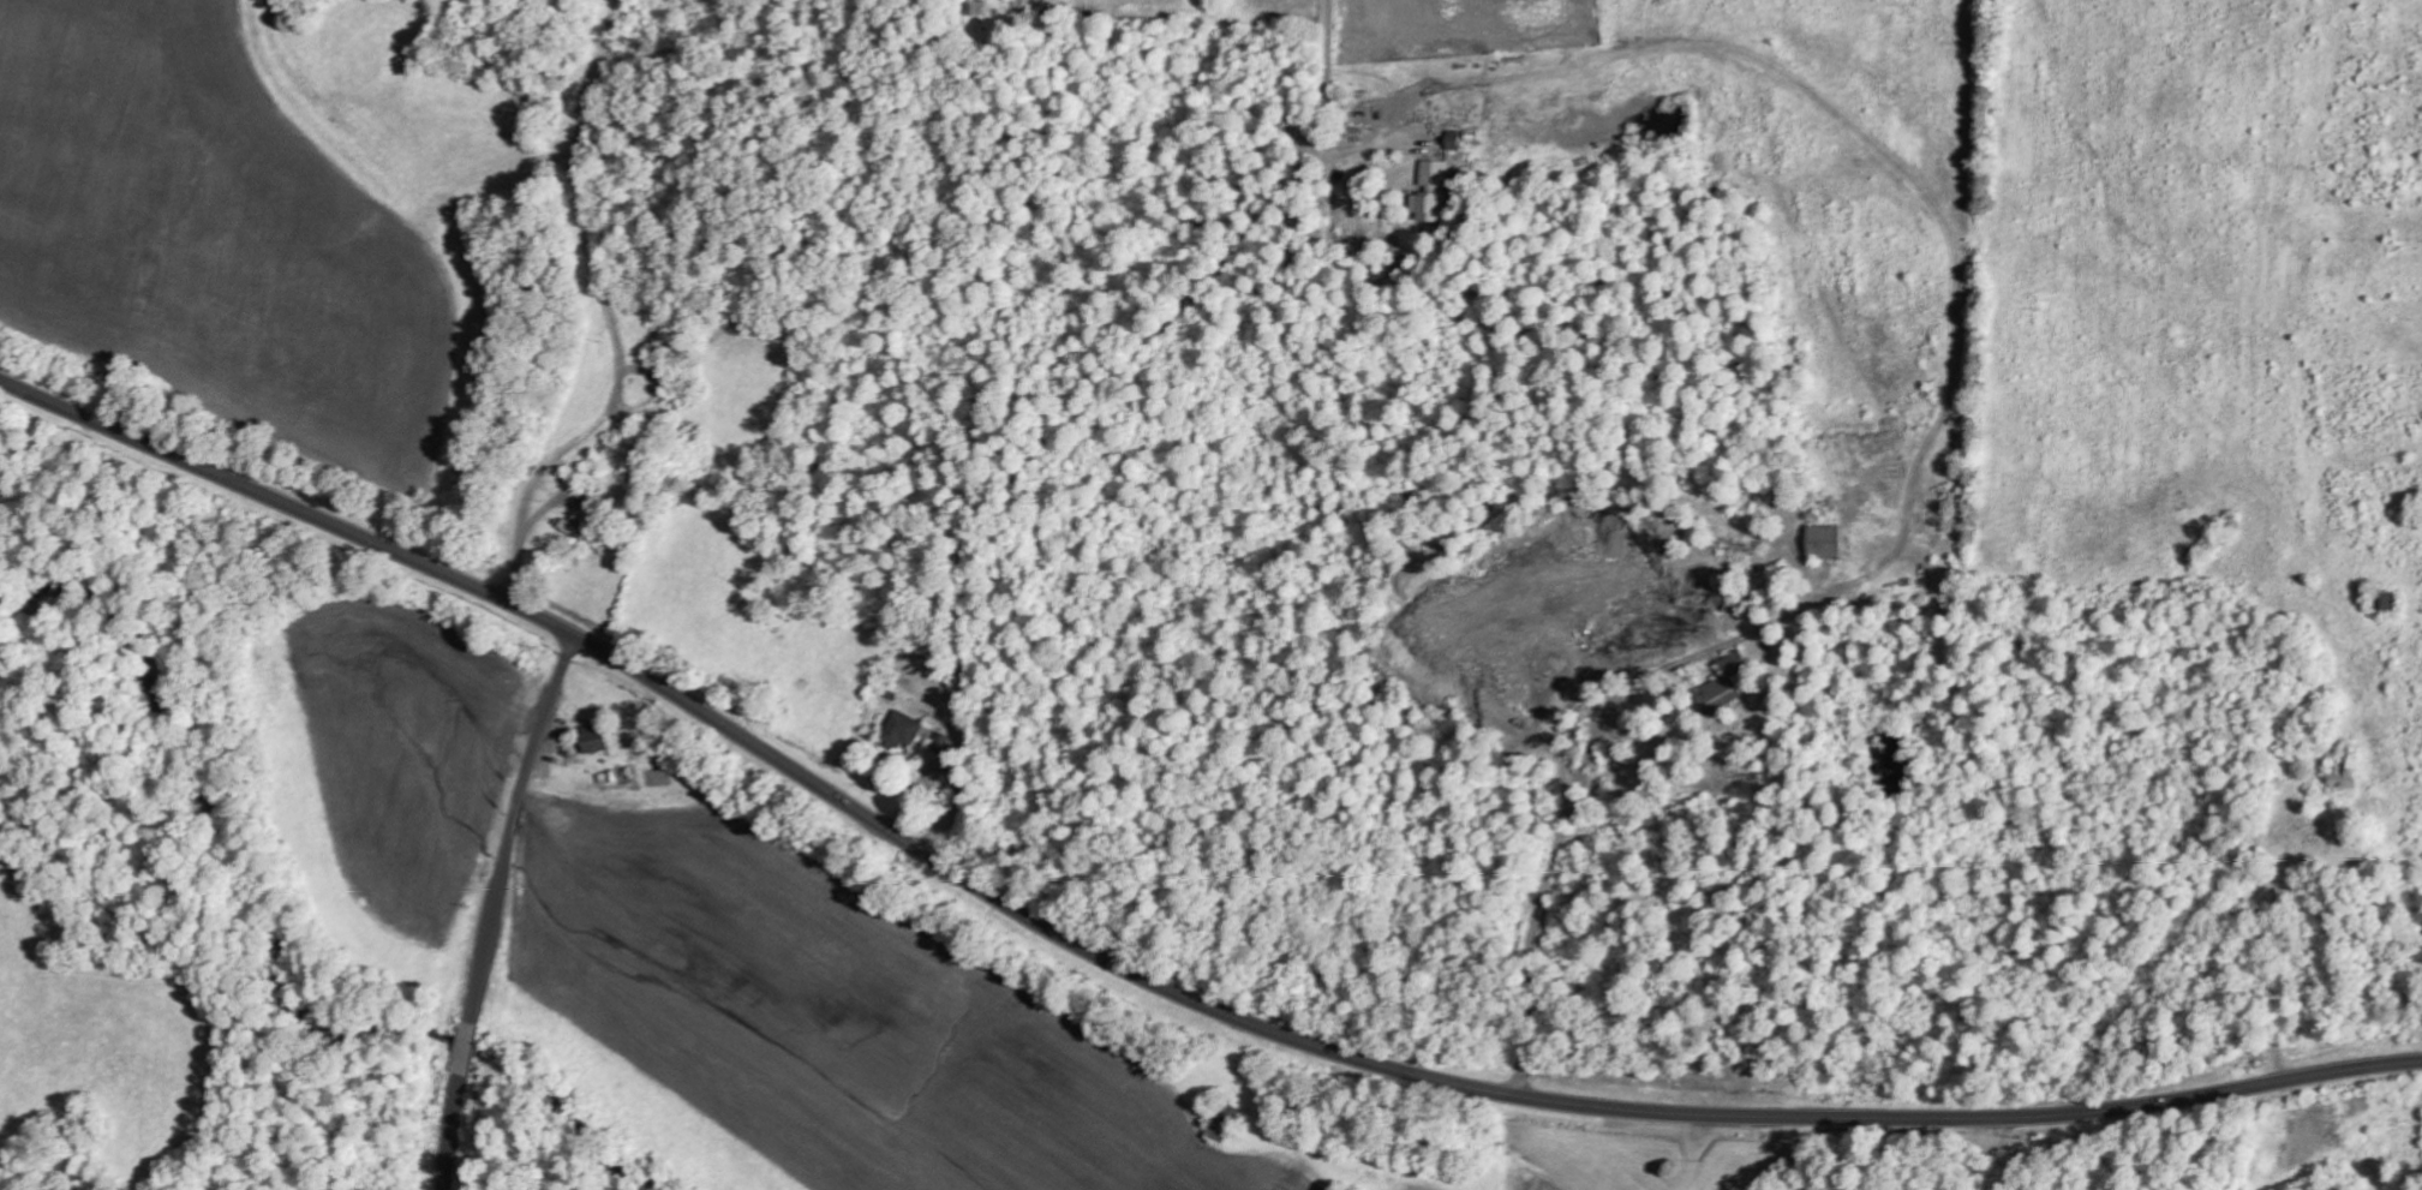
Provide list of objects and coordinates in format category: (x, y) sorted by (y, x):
building: (1431, 192)
road: (1021, 375)
building: (1820, 540)
building: (1721, 686)
road: (1897, 725)
building: (901, 729)
building: (591, 737)
road: (2302, 905)
road: (498, 911)
road: (1148, 979)
building: (1225, 1123)
road: (1979, 1154)

